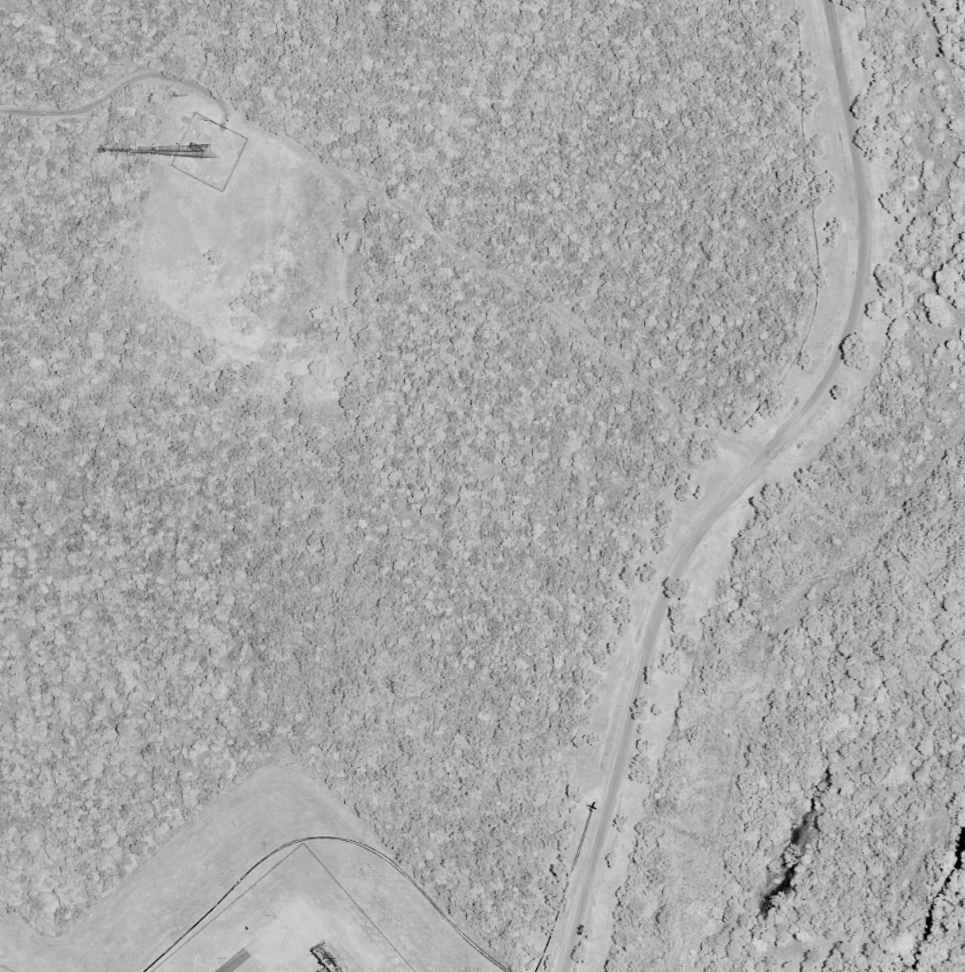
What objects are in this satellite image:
road: (114, 89)
road: (740, 484)
wastewater plant: (266, 897)
road: (265, 941)

